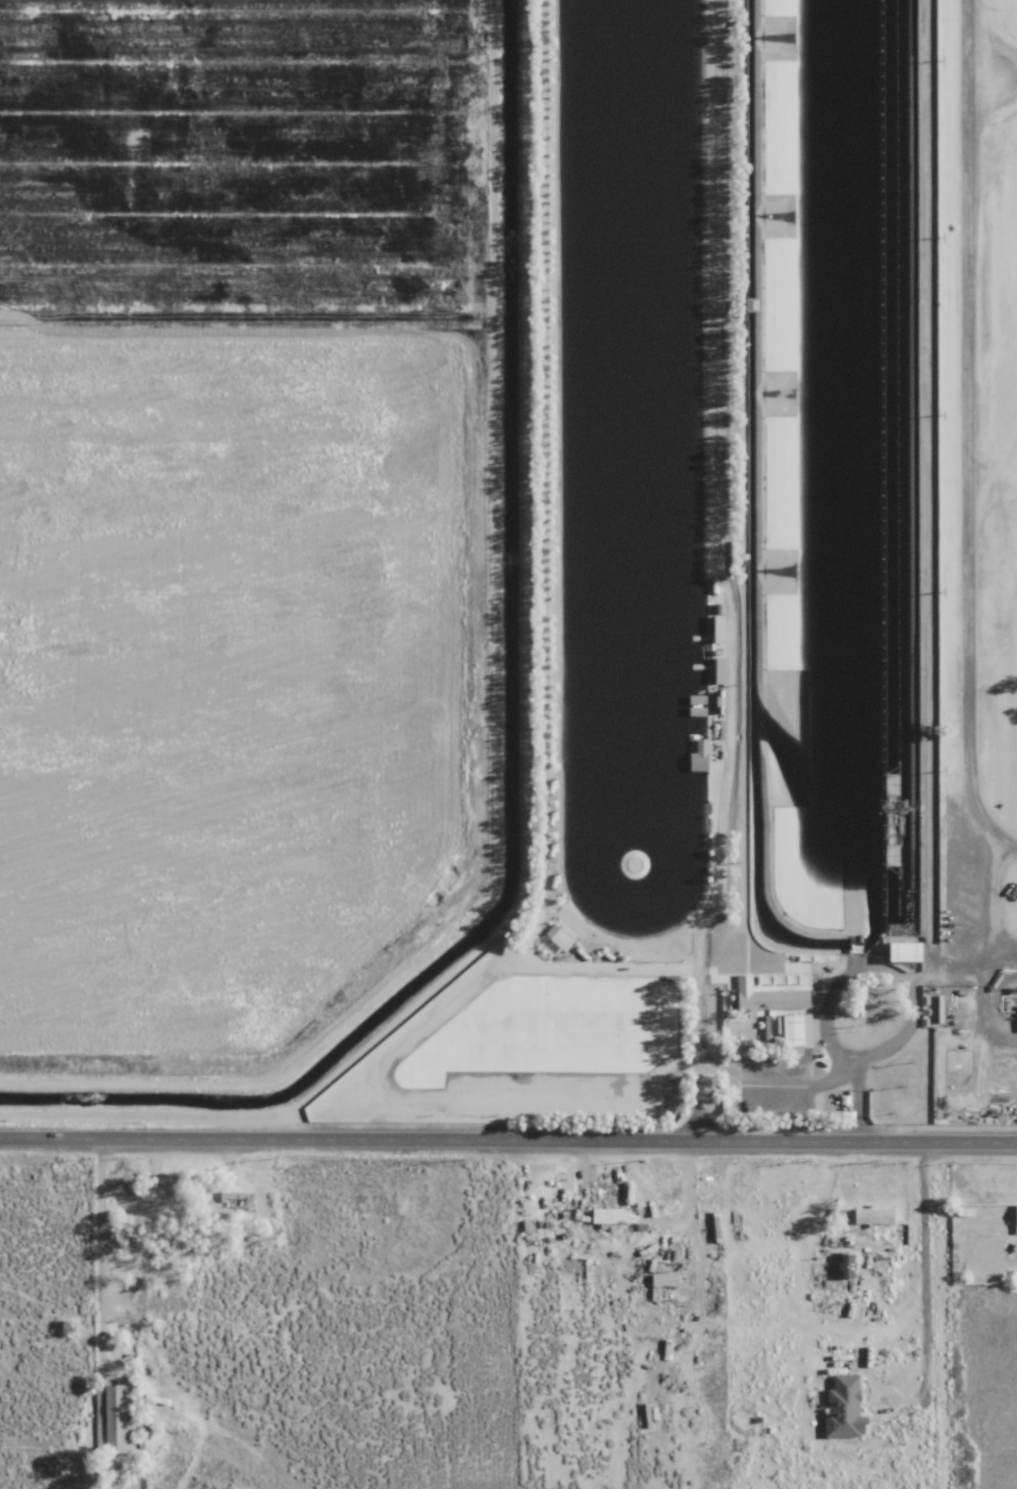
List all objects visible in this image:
pier: (697, 602)
pier: (697, 636)
pier: (697, 666)
pier: (879, 734)
building: (697, 755)
road: (717, 848)
building: (897, 951)
building: (759, 999)
road: (906, 1017)
building: (791, 1030)
road: (697, 1120)
road: (508, 1139)
building: (870, 1214)
building: (608, 1215)
building: (1014, 1218)
road: (97, 1248)
road: (922, 1275)
building: (661, 1279)
building: (840, 1407)
building: (118, 1418)

